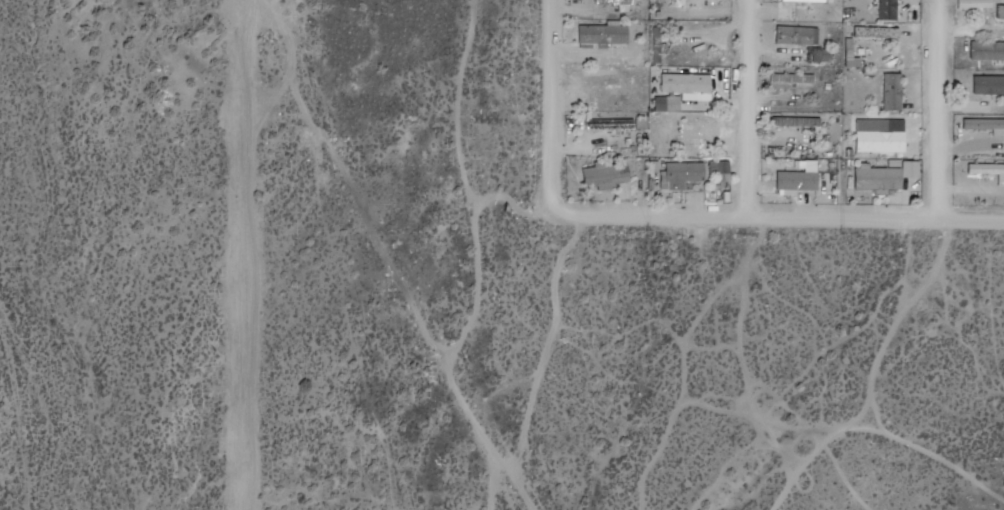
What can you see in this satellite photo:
building: (805, 0)
building: (614, 2)
building: (889, 10)
building: (1001, 11)
building: (878, 32)
building: (605, 34)
building: (797, 35)
building: (658, 45)
building: (987, 50)
building: (822, 55)
building: (603, 76)
building: (794, 78)
building: (981, 81)
building: (688, 83)
building: (894, 91)
road: (551, 106)
road: (750, 109)
road: (939, 109)
building: (797, 121)
building: (604, 123)
building: (986, 124)
building: (703, 129)
building: (884, 137)
building: (721, 170)
building: (685, 173)
building: (608, 174)
building: (881, 176)
building: (799, 180)
road: (777, 218)

